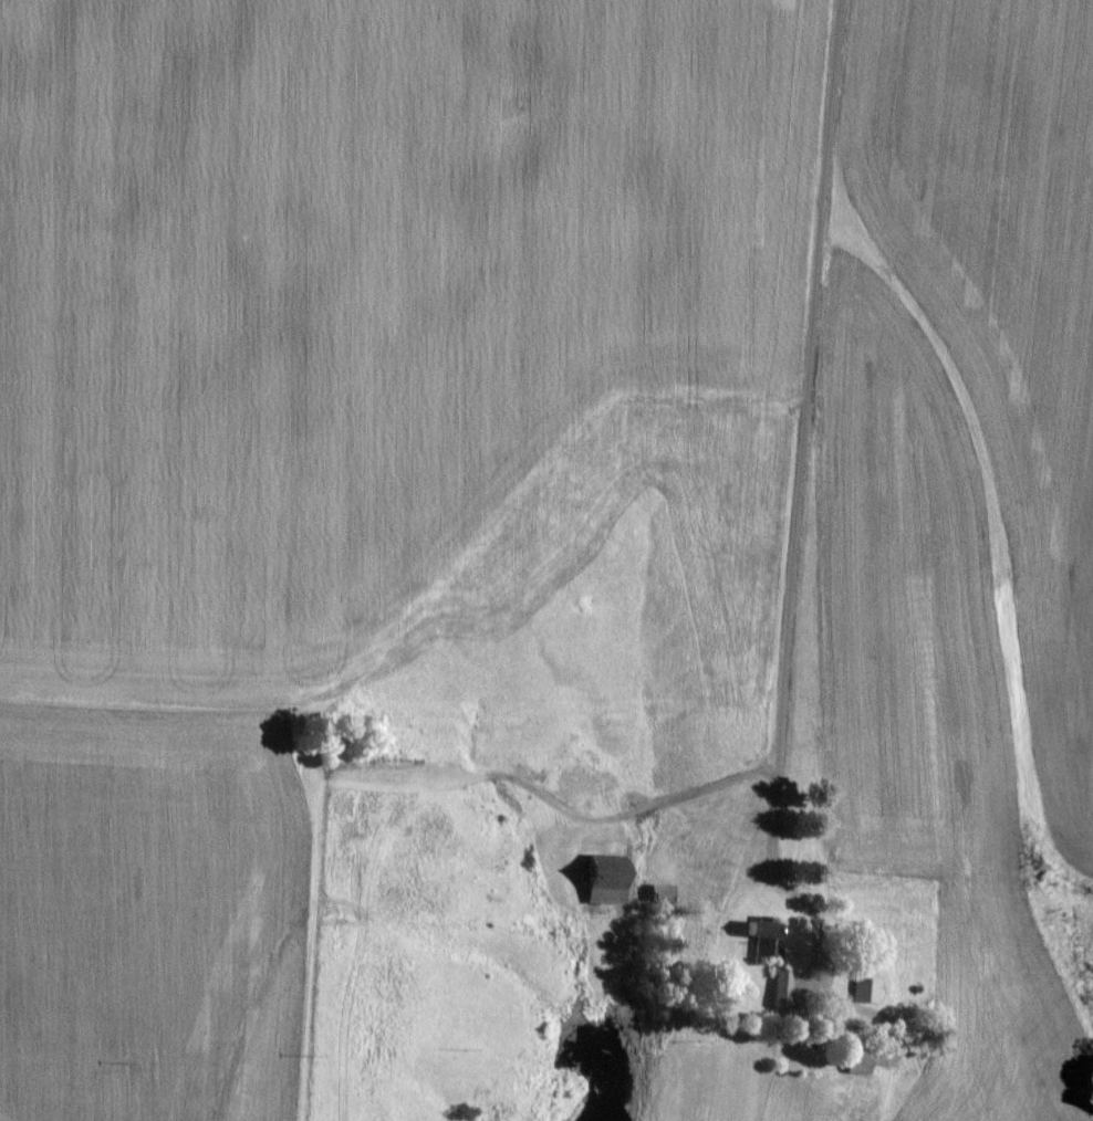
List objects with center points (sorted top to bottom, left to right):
road: (800, 504)
building: (657, 891)
building: (757, 935)
building: (777, 987)
building: (860, 988)

